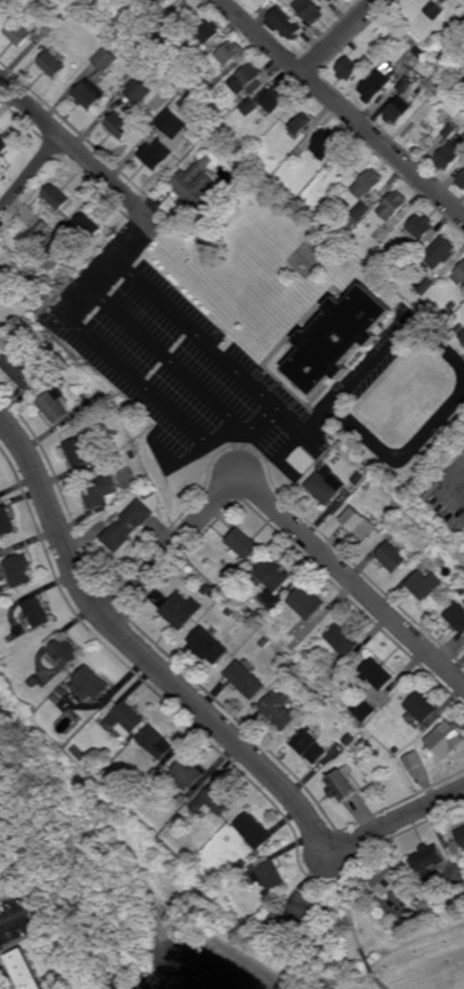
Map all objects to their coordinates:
building: (340, 0)
building: (1, 1)
building: (333, 1)
building: (154, 2)
building: (310, 10)
building: (434, 11)
building: (285, 23)
building: (47, 27)
building: (204, 33)
building: (18, 34)
road: (341, 35)
building: (158, 44)
building: (419, 52)
building: (230, 53)
building: (104, 59)
building: (51, 65)
building: (348, 71)
building: (416, 73)
power tower: (422, 78)
building: (248, 79)
building: (124, 82)
building: (406, 84)
building: (374, 86)
building: (137, 91)
building: (87, 94)
building: (276, 98)
building: (250, 107)
building: (397, 108)
road: (343, 109)
building: (207, 110)
building: (171, 122)
building: (118, 125)
building: (302, 125)
building: (453, 126)
building: (327, 142)
building: (4, 145)
building: (301, 151)
road: (80, 153)
building: (154, 153)
building: (448, 153)
road: (30, 173)
building: (461, 179)
building: (195, 182)
building: (367, 182)
building: (56, 196)
building: (392, 204)
building: (361, 210)
building: (36, 223)
building: (87, 225)
building: (421, 228)
building: (379, 234)
building: (351, 241)
building: (55, 248)
building: (436, 252)
building: (404, 260)
road: (110, 262)
building: (459, 274)
building: (448, 277)
building: (37, 279)
building: (425, 286)
building: (451, 305)
building: (0, 329)
road: (405, 329)
building: (459, 329)
road: (197, 333)
building: (461, 336)
building: (338, 338)
road: (444, 347)
road: (167, 358)
parking lot: (178, 366)
building: (23, 368)
building: (60, 379)
road: (163, 402)
building: (54, 405)
road: (340, 405)
building: (78, 451)
building: (132, 455)
road: (405, 455)
building: (331, 457)
road: (238, 459)
building: (302, 460)
building: (324, 470)
building: (358, 478)
building: (324, 487)
building: (99, 490)
building: (389, 508)
road: (283, 516)
building: (6, 522)
building: (357, 524)
building: (126, 525)
building: (242, 545)
building: (391, 557)
building: (18, 570)
building: (272, 574)
building: (425, 583)
building: (206, 588)
building: (461, 590)
building: (213, 593)
building: (307, 603)
building: (181, 611)
building: (231, 611)
building: (35, 615)
building: (456, 618)
building: (344, 639)
building: (264, 641)
building: (207, 646)
road: (138, 650)
building: (62, 651)
building: (319, 674)
building: (379, 674)
building: (244, 680)
building: (34, 681)
building: (91, 685)
building: (62, 691)
building: (421, 708)
building: (278, 710)
building: (364, 710)
building: (123, 719)
building: (422, 730)
building: (445, 739)
building: (350, 740)
building: (156, 744)
building: (311, 748)
building: (78, 752)
building: (413, 760)
building: (92, 765)
building: (154, 771)
building: (187, 773)
building: (340, 783)
building: (181, 799)
building: (213, 801)
building: (175, 805)
building: (179, 818)
road: (395, 821)
building: (254, 830)
building: (460, 834)
building: (427, 856)
building: (268, 873)
building: (3, 875)
building: (387, 877)
building: (455, 888)
park: (171, 896)
building: (296, 914)
road: (354, 922)
building: (327, 938)
building: (26, 969)

